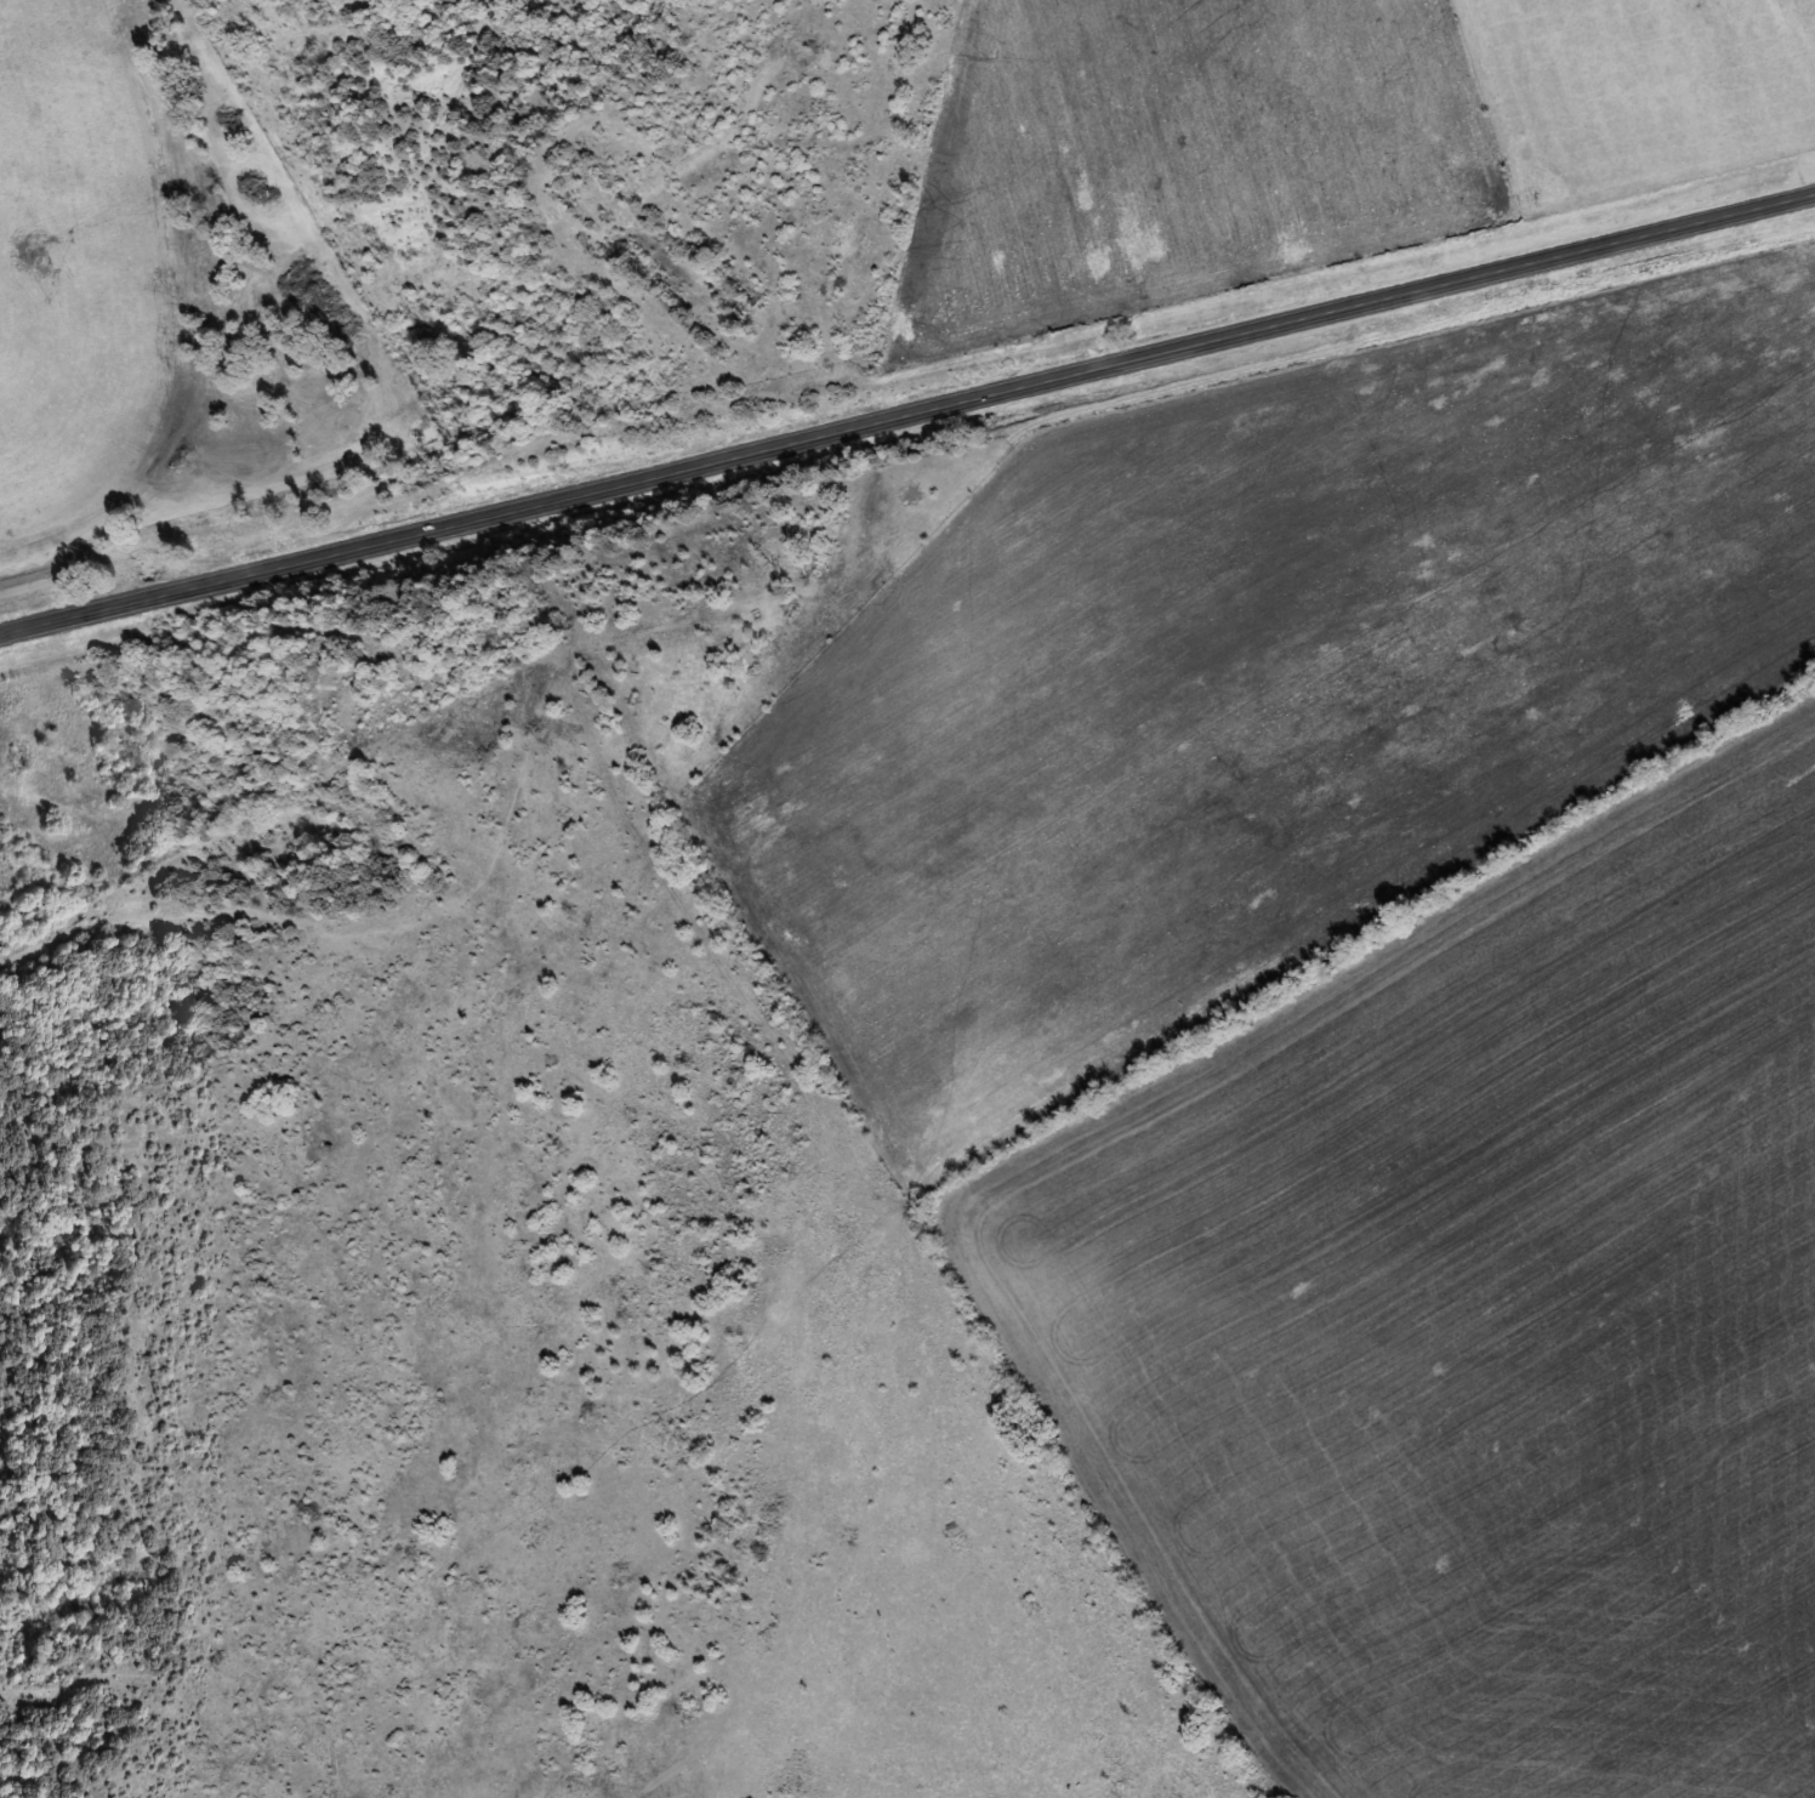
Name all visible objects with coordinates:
road: (907, 415)

